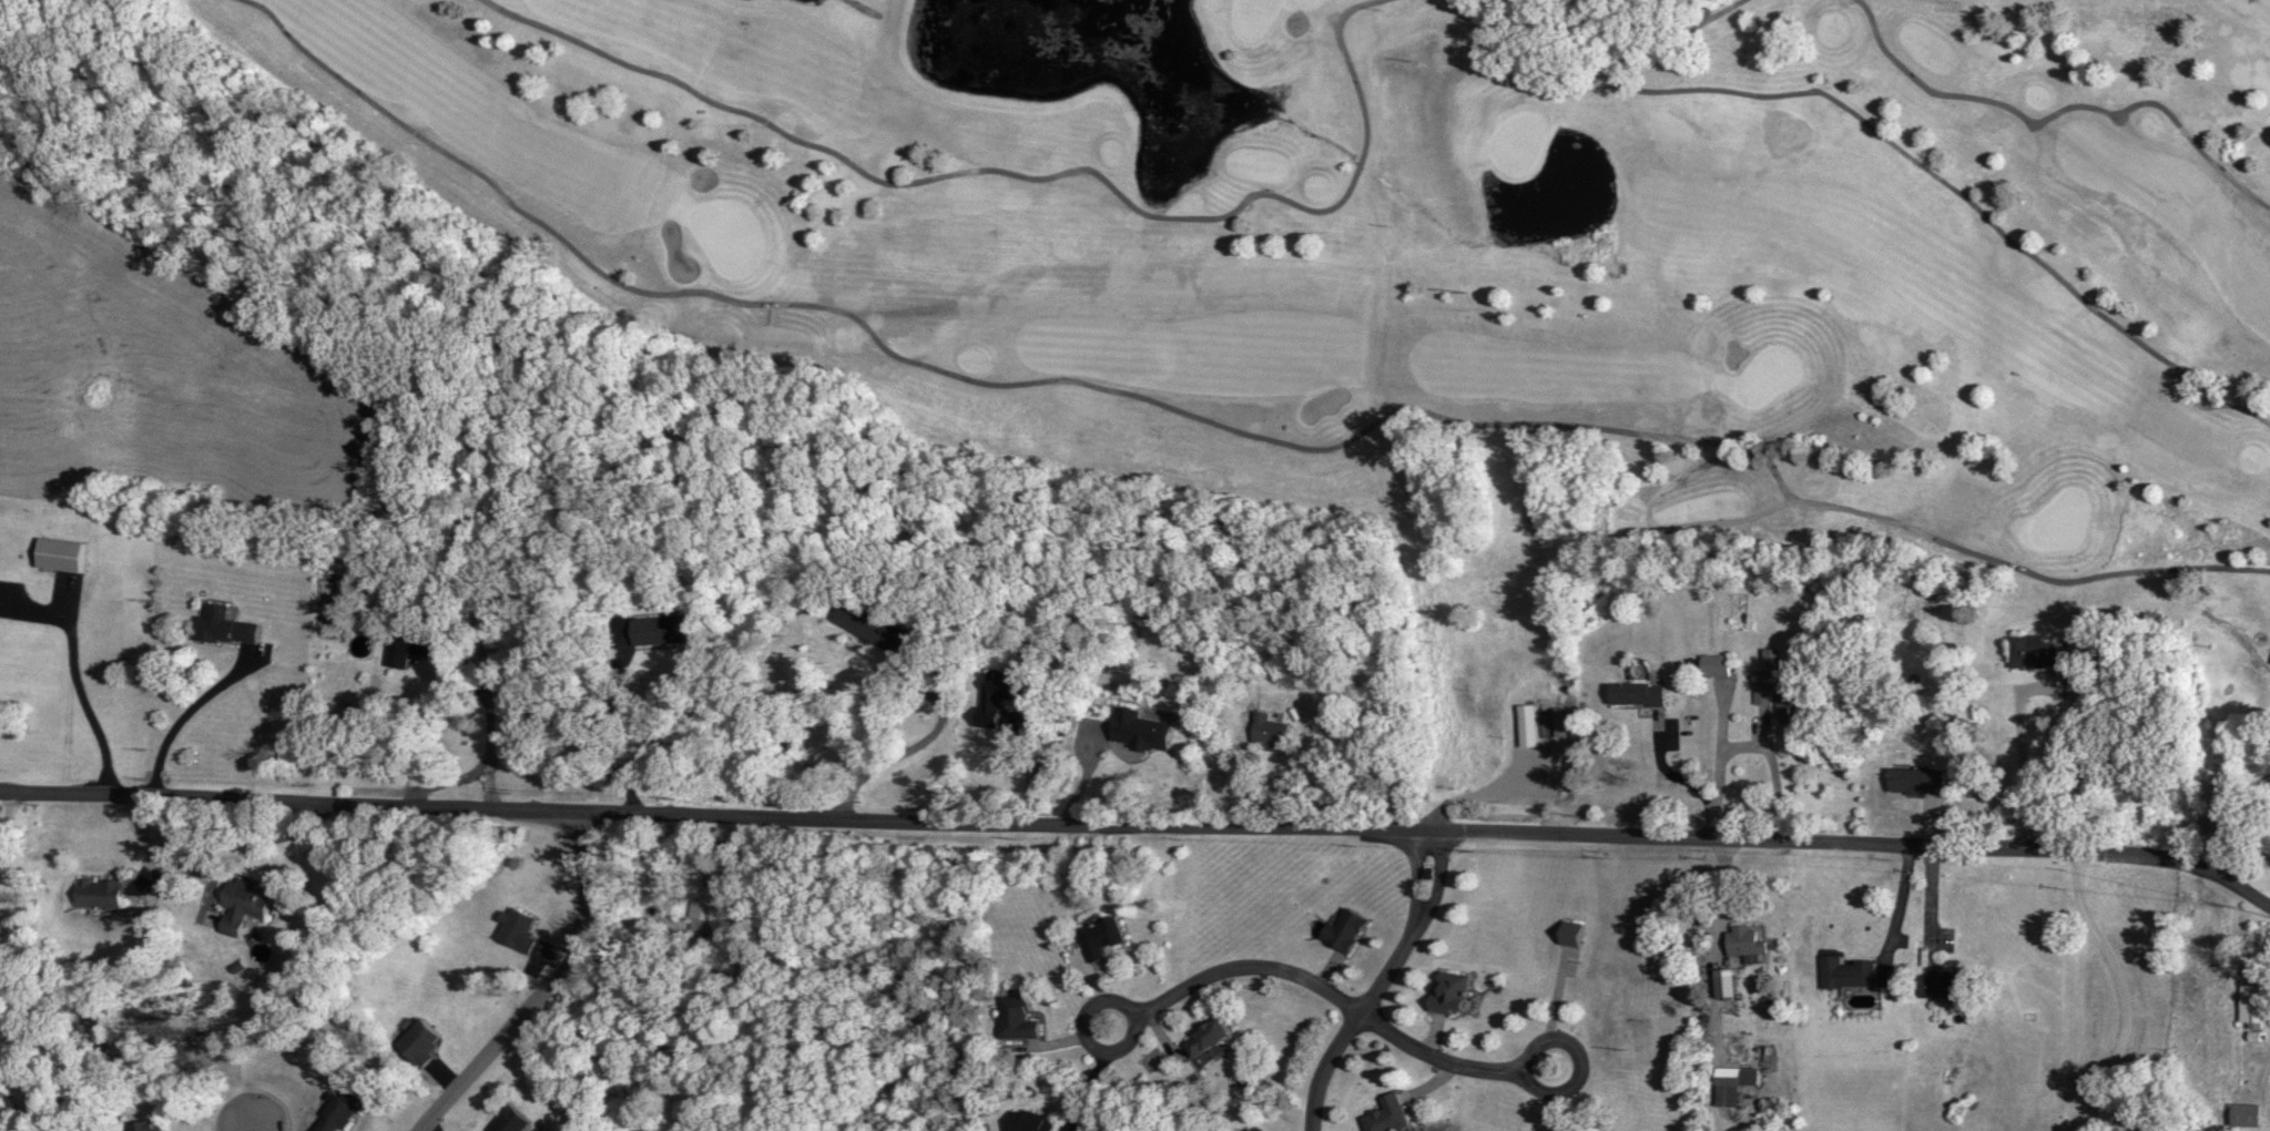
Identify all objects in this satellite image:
park: (1441, 237)
building: (852, 619)
building: (218, 626)
building: (648, 630)
building: (406, 645)
building: (2025, 652)
building: (1713, 665)
road: (74, 681)
building: (1773, 685)
building: (1631, 694)
building: (986, 704)
road: (184, 711)
building: (1524, 726)
building: (1131, 731)
road: (495, 734)
road: (1020, 734)
building: (1262, 734)
road: (914, 747)
road: (2019, 764)
building: (1914, 781)
road: (1141, 821)
building: (106, 894)
road: (1926, 898)
building: (254, 900)
road: (1895, 900)
building: (708, 908)
building: (4, 927)
building: (1341, 929)
building: (515, 930)
building: (1568, 931)
building: (1099, 937)
building: (1742, 940)
building: (1844, 971)
building: (1720, 977)
road: (1380, 982)
building: (1933, 982)
road: (543, 988)
road: (1330, 991)
building: (1446, 991)
road: (2124, 991)
building: (2247, 1008)
building: (1014, 1018)
building: (1200, 1036)
building: (416, 1042)
building: (1728, 1082)
building: (332, 1111)
building: (2243, 1113)
building: (1383, 1114)
building: (505, 1121)
building: (1026, 1121)
road: (255, 1127)
building: (154, 1129)

